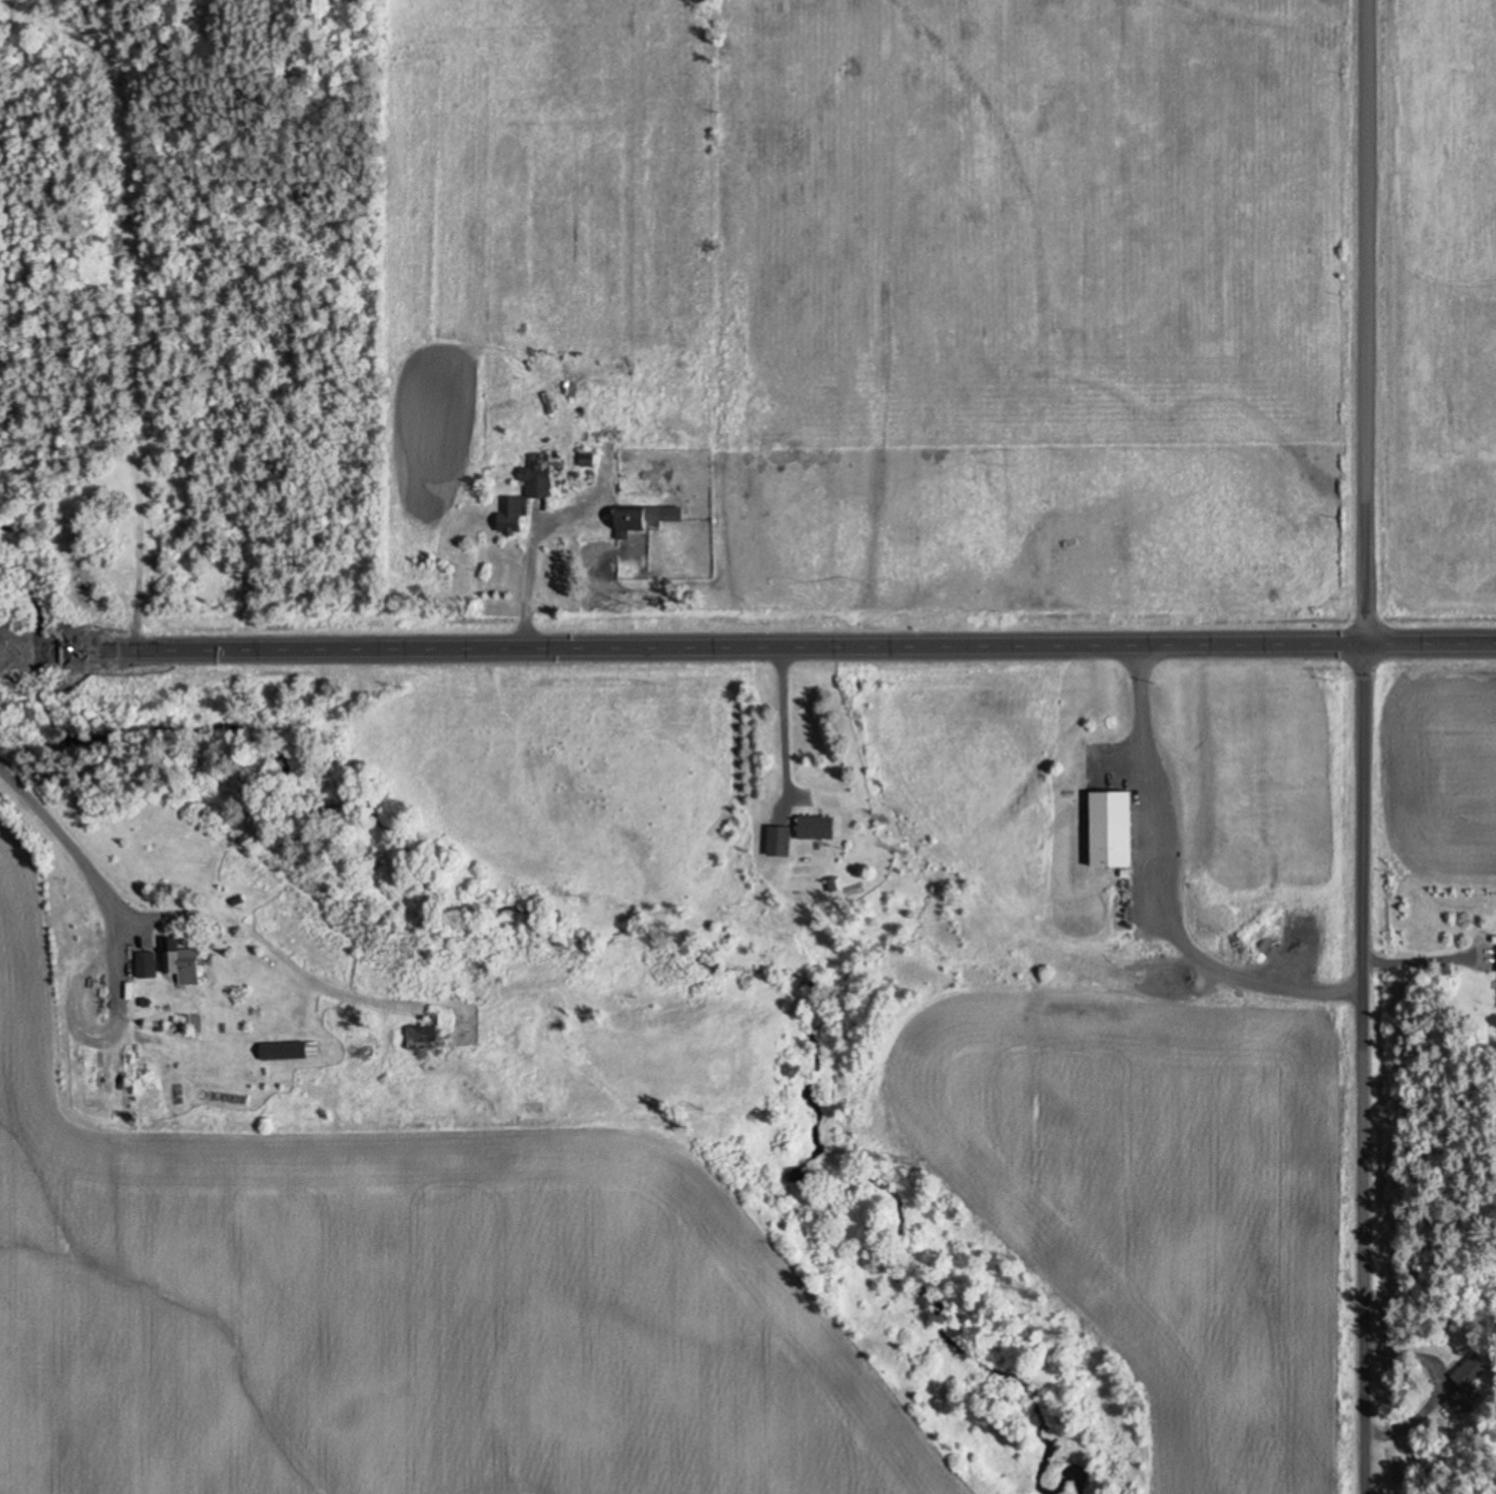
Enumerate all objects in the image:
crop: (1434, 316)
road: (1361, 323)
building: (589, 457)
building: (529, 492)
building: (643, 516)
road: (748, 652)
building: (818, 826)
building: (1112, 828)
building: (781, 839)
road: (1164, 894)
road: (47, 902)
building: (148, 963)
building: (185, 963)
road: (1427, 964)
building: (423, 1035)
building: (291, 1048)
road: (1361, 1070)
building: (1468, 1383)

